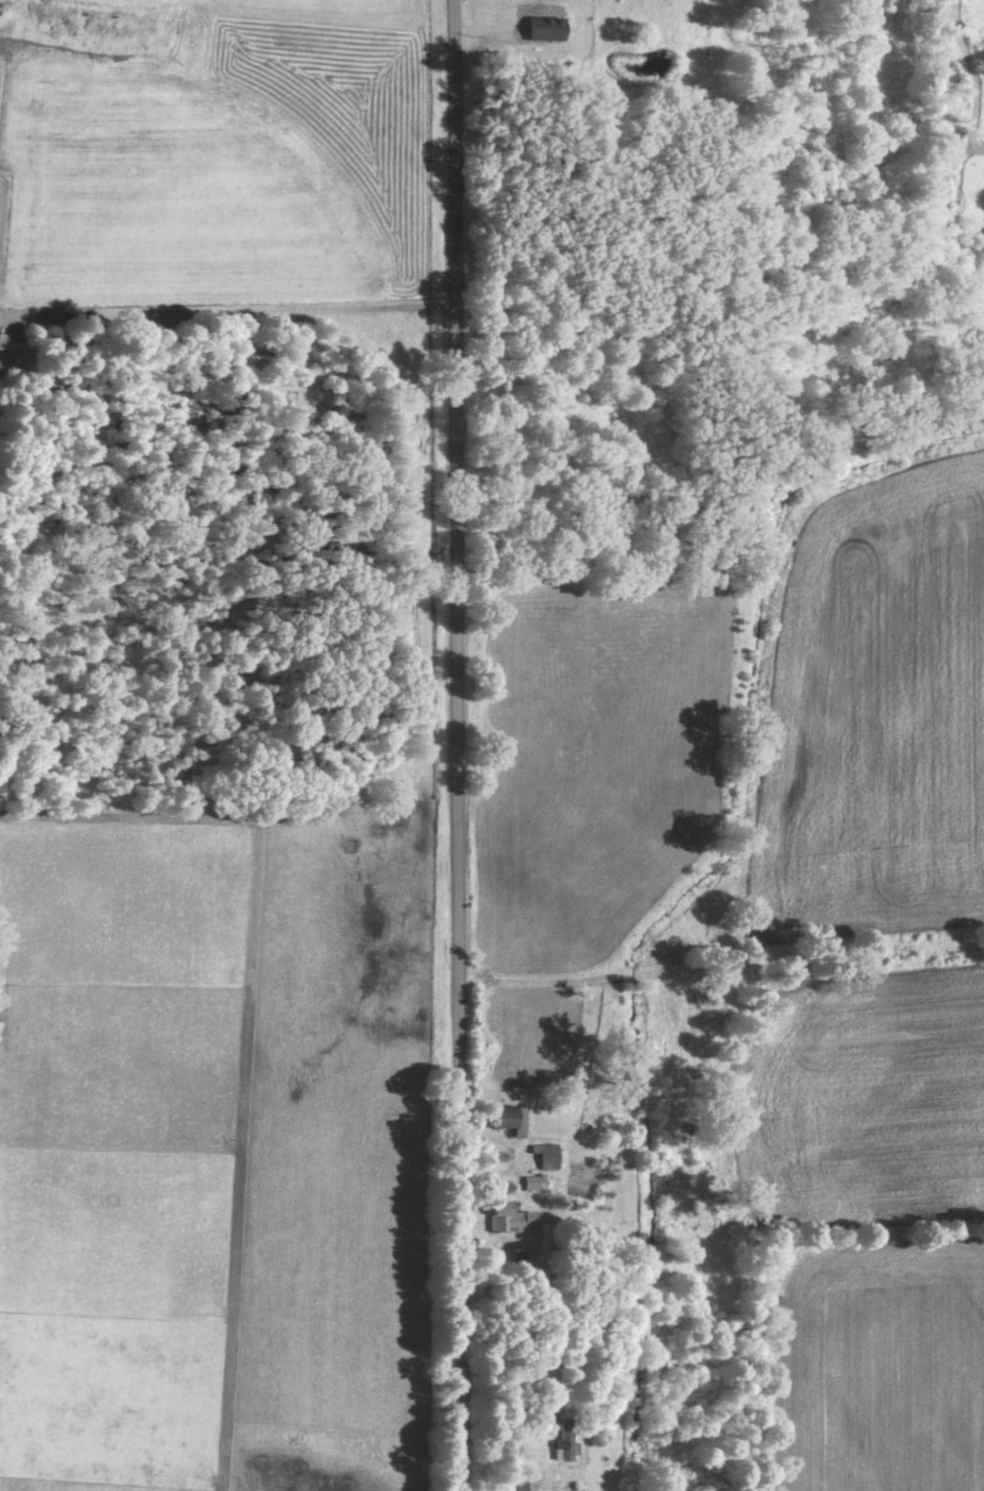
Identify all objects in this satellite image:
building: (544, 31)
road: (456, 745)
building: (509, 1122)
building: (547, 1158)
building: (530, 1186)
building: (508, 1221)
building: (563, 1447)
building: (516, 1483)

